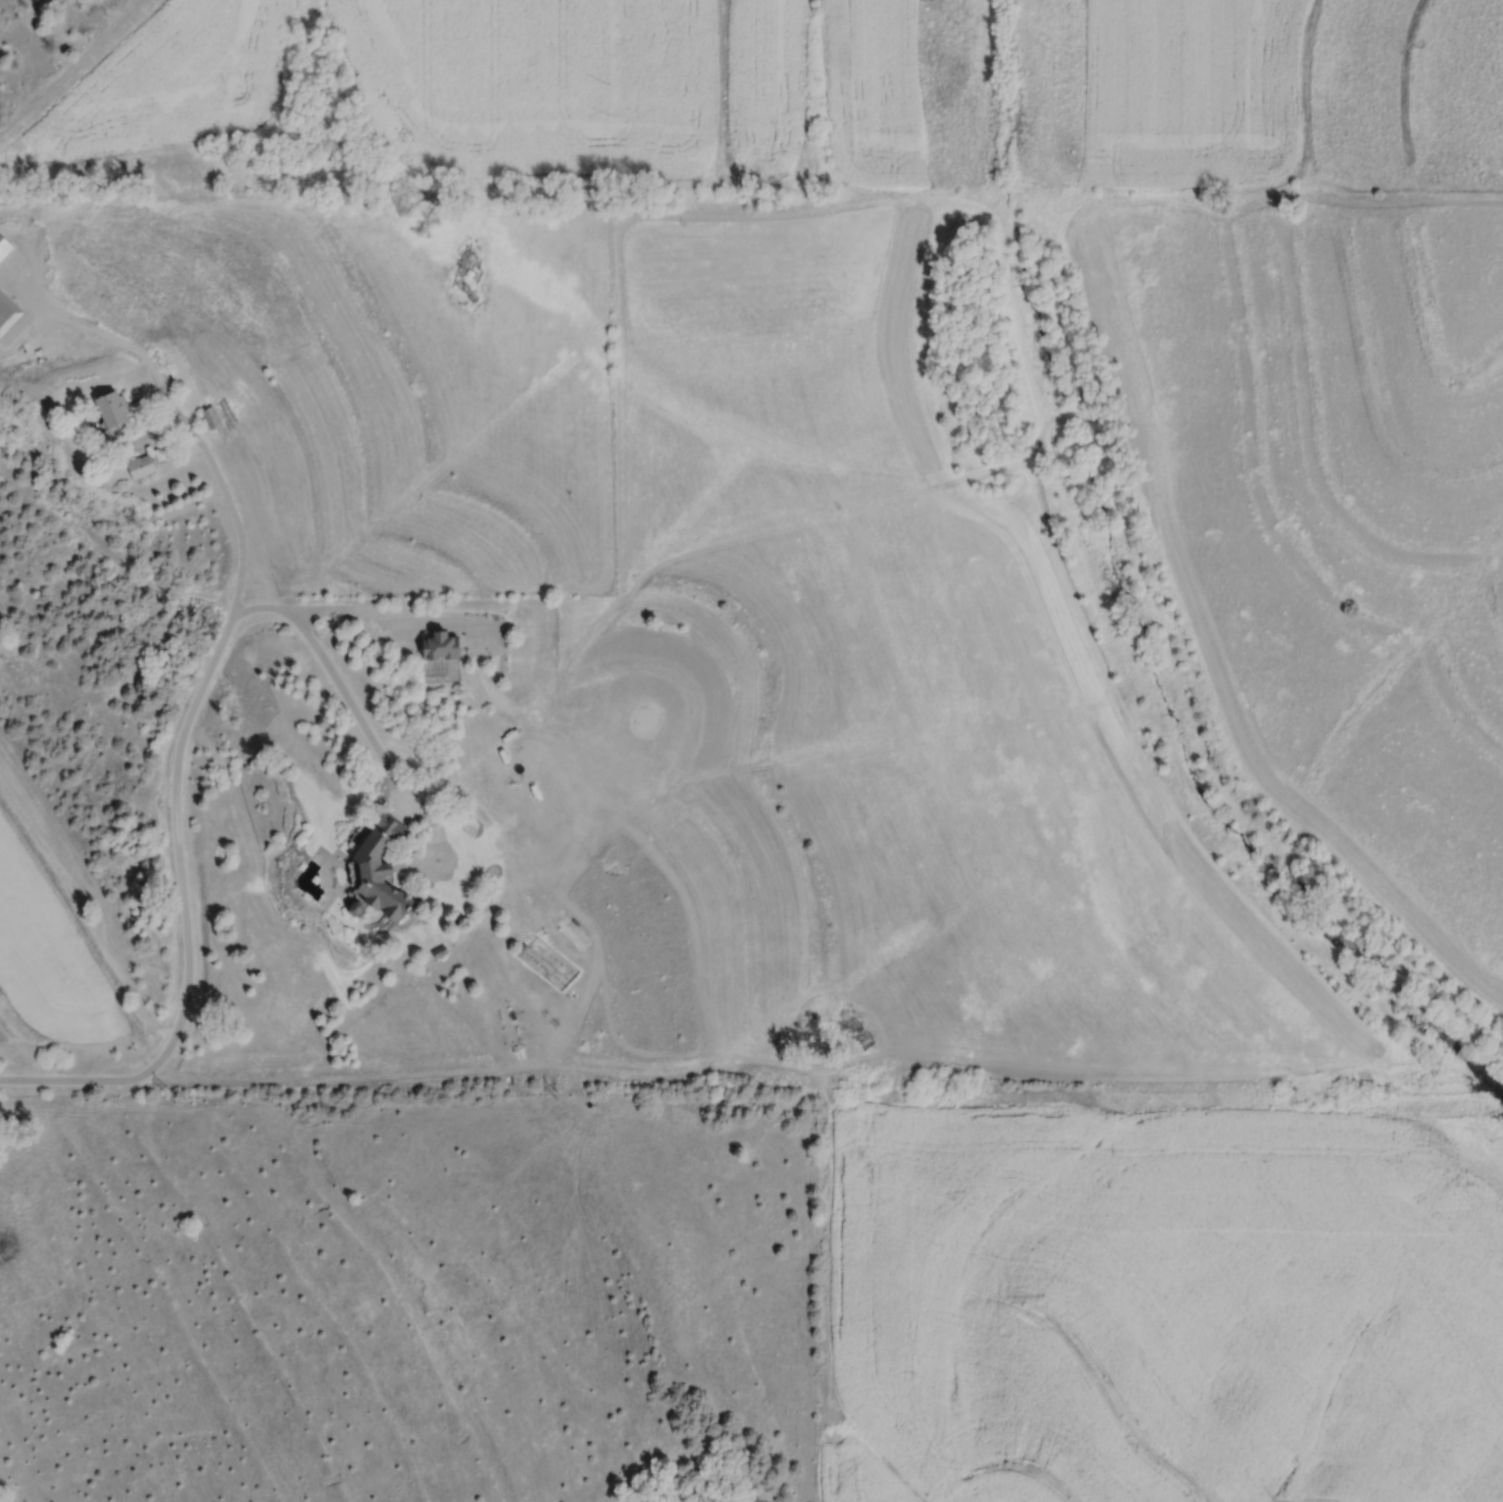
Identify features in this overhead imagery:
building: (111, 414)
building: (211, 419)
road: (191, 428)
building: (140, 468)
road: (384, 609)
building: (439, 645)
road: (337, 682)
building: (382, 865)
road: (182, 897)
power tower: (558, 1092)
power tower: (175, 1093)
power tower: (1368, 1093)
power tower: (963, 1094)

